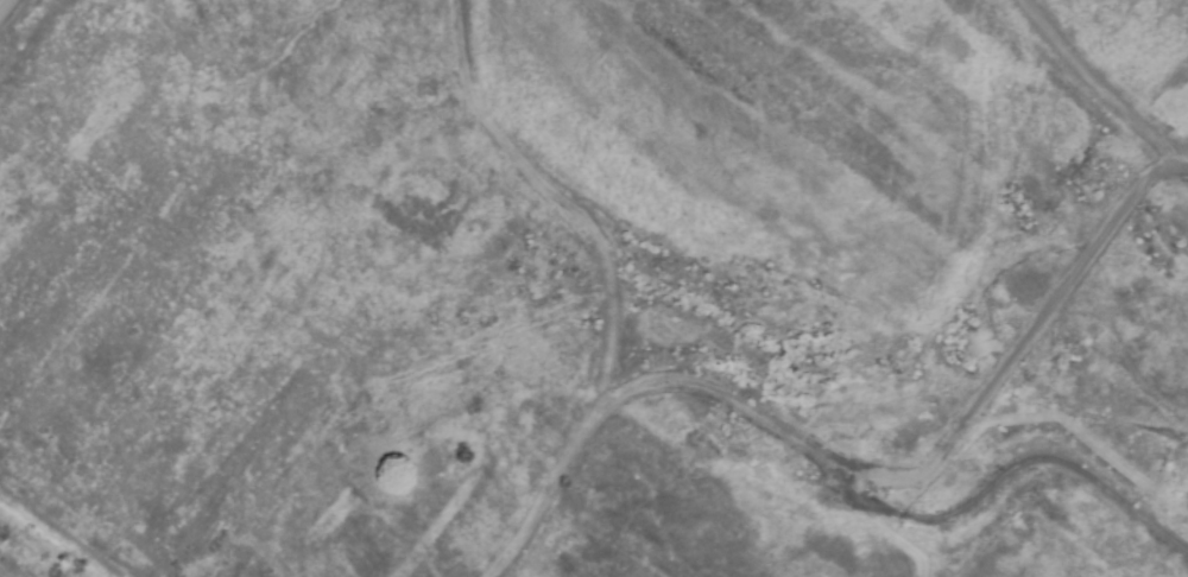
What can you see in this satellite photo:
road: (1, 1)
road: (1097, 84)
road: (1020, 464)
road: (853, 473)
road: (897, 544)

